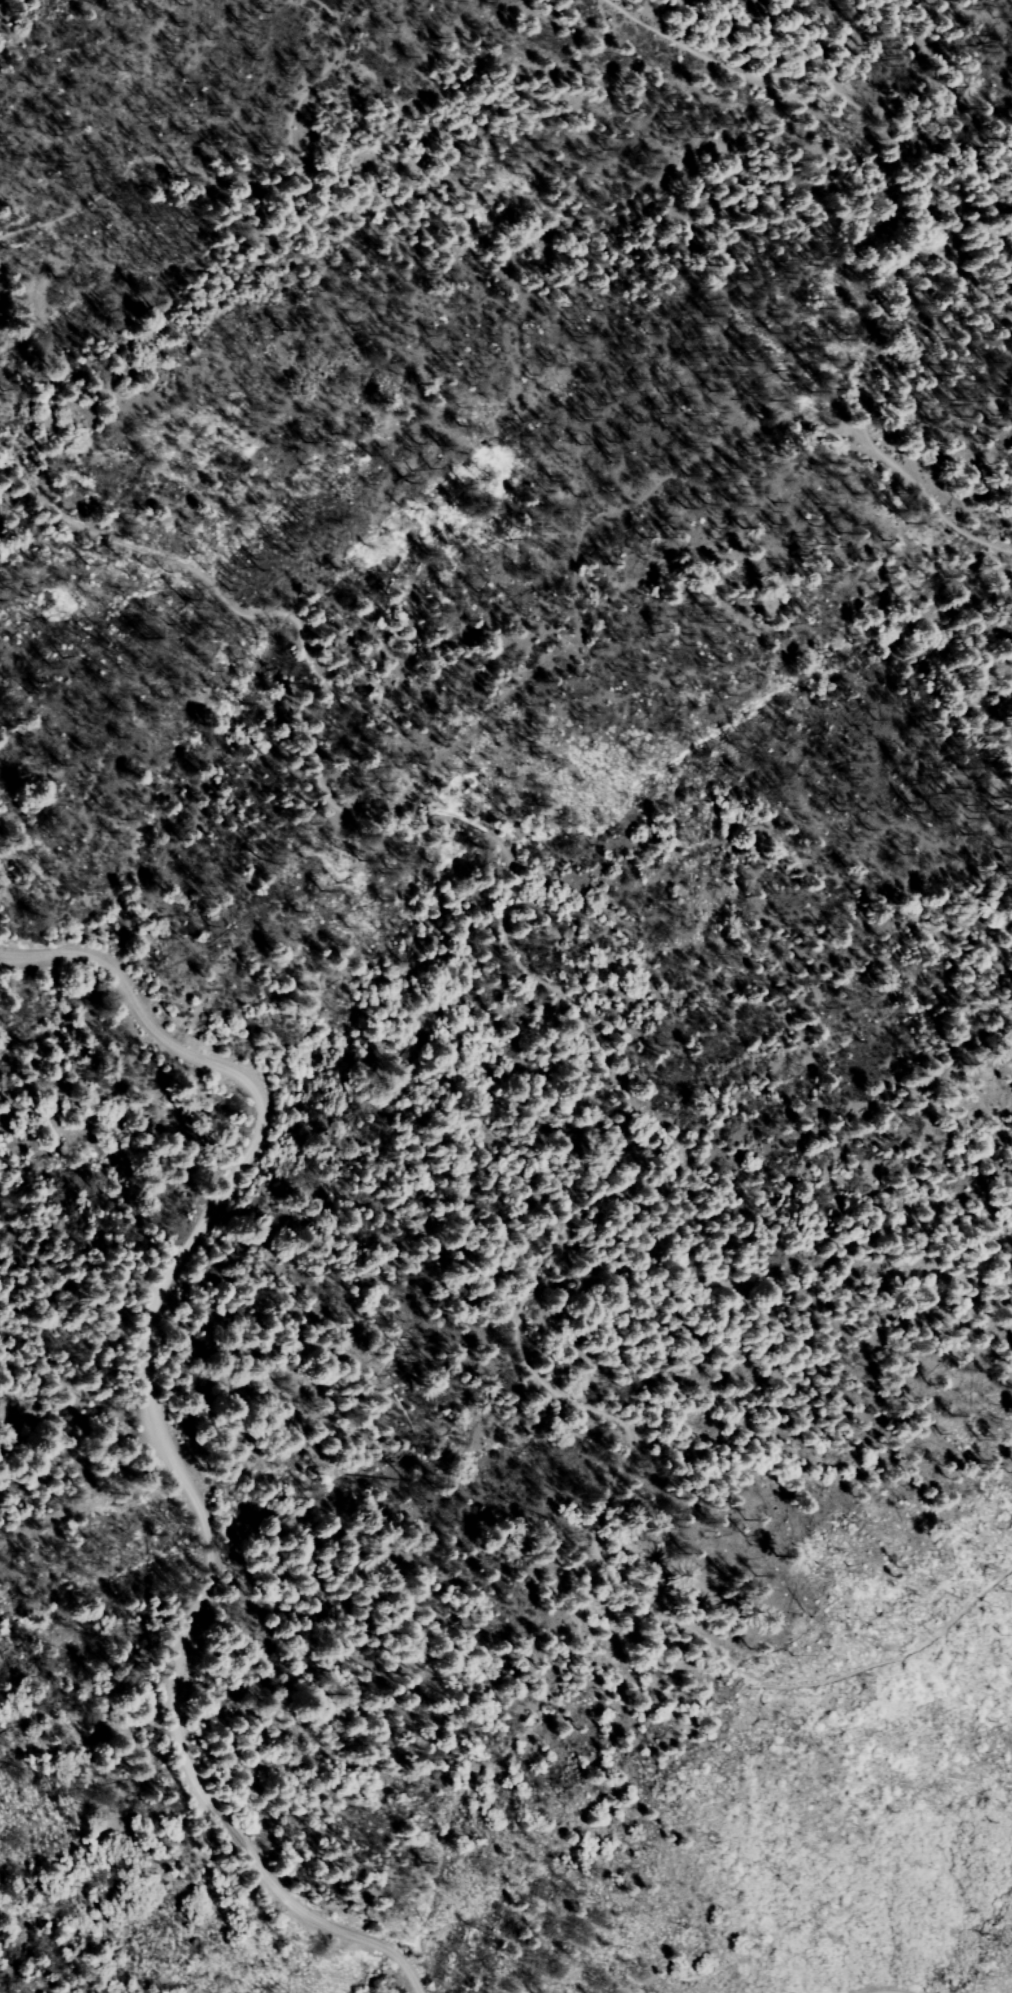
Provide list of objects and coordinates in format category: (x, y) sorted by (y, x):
road: (155, 1431)
road: (888, 1988)

